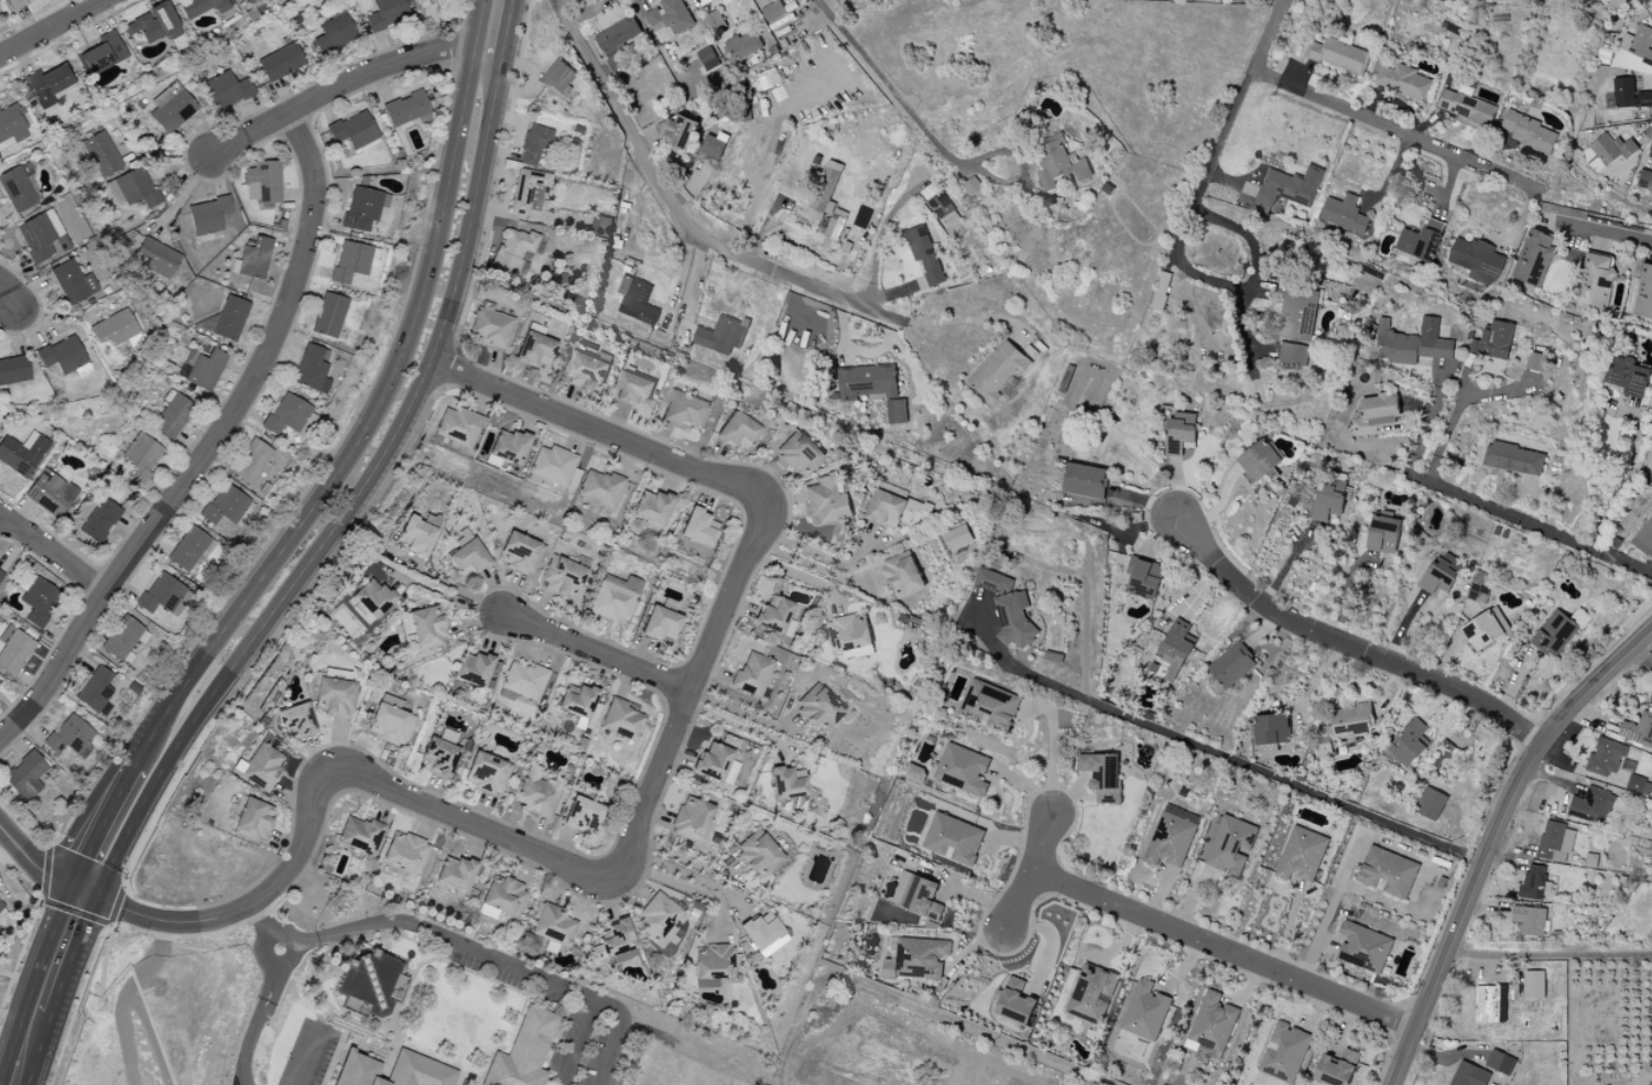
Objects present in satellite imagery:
building: (706, 2)
building: (15, 4)
building: (200, 7)
building: (773, 11)
building: (385, 13)
building: (673, 17)
building: (716, 23)
building: (153, 24)
road: (507, 25)
road: (52, 28)
building: (333, 35)
building: (620, 37)
building: (742, 45)
road: (452, 52)
building: (1641, 53)
building: (100, 54)
building: (1338, 55)
building: (707, 58)
building: (280, 63)
road: (447, 72)
building: (559, 78)
building: (1403, 82)
building: (47, 85)
road: (336, 87)
building: (226, 90)
road: (894, 91)
building: (1630, 94)
road: (1240, 95)
building: (1467, 108)
building: (171, 109)
building: (405, 109)
building: (352, 131)
building: (678, 131)
building: (1528, 132)
road: (1413, 139)
building: (533, 144)
building: (714, 145)
building: (1612, 150)
building: (101, 154)
building: (1058, 162)
building: (1646, 177)
building: (262, 183)
building: (972, 186)
building: (19, 187)
building: (1289, 187)
building: (133, 188)
building: (825, 191)
building: (939, 205)
building: (362, 208)
building: (1345, 214)
road: (681, 215)
building: (207, 216)
building: (600, 226)
building: (835, 227)
road: (1606, 232)
road: (878, 236)
building: (1421, 240)
building: (513, 250)
building: (924, 254)
building: (155, 258)
building: (1533, 258)
building: (252, 260)
building: (351, 262)
road: (685, 282)
building: (1597, 282)
building: (73, 283)
road: (1230, 289)
building: (1643, 293)
road: (7, 295)
building: (637, 301)
building: (1298, 313)
building: (328, 316)
building: (230, 318)
road: (967, 322)
building: (490, 327)
building: (112, 329)
building: (720, 335)
building: (1493, 341)
building: (1412, 343)
building: (534, 350)
building: (1294, 354)
building: (62, 356)
building: (1534, 361)
building: (202, 369)
building: (311, 369)
building: (13, 370)
building: (998, 371)
building: (586, 372)
building: (1627, 376)
building: (873, 389)
building: (634, 390)
road: (377, 409)
building: (684, 409)
building: (1380, 409)
building: (172, 415)
building: (285, 415)
road: (1452, 421)
road: (596, 423)
building: (458, 426)
building: (737, 431)
building: (1180, 433)
road: (211, 444)
building: (507, 448)
building: (800, 453)
building: (22, 454)
building: (141, 455)
building: (1513, 458)
building: (250, 462)
building: (1260, 462)
building: (553, 466)
building: (1651, 479)
building: (1085, 480)
building: (600, 489)
building: (50, 493)
road: (352, 501)
building: (826, 501)
building: (1329, 501)
building: (224, 506)
building: (652, 508)
building: (896, 510)
building: (431, 520)
building: (99, 521)
road: (1533, 522)
building: (698, 528)
building: (1383, 534)
building: (415, 538)
building: (956, 538)
building: (1644, 538)
building: (188, 549)
building: (520, 553)
road: (53, 556)
road: (805, 564)
building: (1441, 574)
building: (0, 575)
building: (903, 575)
building: (563, 577)
building: (1144, 577)
building: (1479, 585)
road: (443, 595)
building: (163, 596)
building: (371, 598)
building: (615, 598)
building: (40, 601)
building: (1008, 609)
building: (775, 616)
building: (660, 625)
building: (426, 629)
building: (1483, 631)
building: (849, 633)
building: (1555, 633)
building: (121, 639)
road: (1347, 643)
building: (1175, 649)
building: (13, 650)
road: (596, 652)
building: (1231, 665)
building: (472, 670)
building: (751, 675)
building: (522, 683)
road: (694, 684)
building: (95, 691)
building: (336, 696)
building: (1651, 699)
building: (578, 702)
building: (1651, 702)
building: (989, 705)
building: (817, 708)
road: (697, 709)
building: (621, 719)
building: (389, 720)
building: (295, 721)
road: (740, 725)
building: (1347, 726)
building: (1271, 730)
building: (1639, 731)
building: (68, 736)
building: (1409, 745)
road: (1220, 753)
building: (439, 758)
building: (1606, 758)
building: (716, 763)
building: (963, 770)
building: (487, 773)
building: (915, 773)
building: (1101, 775)
building: (24, 777)
building: (786, 784)
building: (537, 793)
building: (1431, 804)
building: (1595, 806)
building: (580, 814)
road: (90, 818)
building: (691, 820)
building: (252, 822)
road: (474, 822)
road: (1481, 824)
building: (360, 836)
building: (1172, 836)
building: (953, 838)
road: (1492, 838)
building: (1557, 842)
building: (1230, 845)
building: (405, 853)
building: (758, 855)
building: (1301, 855)
road: (683, 859)
road: (35, 862)
road: (1017, 866)
road: (1031, 872)
building: (455, 874)
road: (686, 874)
building: (1389, 874)
building: (1534, 883)
road: (683, 886)
building: (917, 898)
building: (501, 899)
building: (1, 905)
road: (241, 912)
building: (657, 916)
building: (1531, 920)
road: (258, 926)
building: (553, 926)
building: (761, 931)
building: (613, 944)
building: (1365, 946)
road: (1224, 948)
road: (478, 950)
road: (1548, 955)
building: (917, 958)
building: (713, 965)
building: (369, 985)
building: (1534, 985)
road: (44, 988)
building: (1091, 994)
building: (1014, 1002)
building: (1491, 1003)
road: (906, 1006)
building: (1144, 1011)
road: (260, 1013)
building: (1211, 1026)
road: (617, 1032)
building: (522, 1052)
building: (1285, 1053)
road: (307, 1055)
building: (1500, 1062)
building: (1475, 1064)
building: (392, 1071)
building: (1334, 1072)
building: (1650, 1084)

